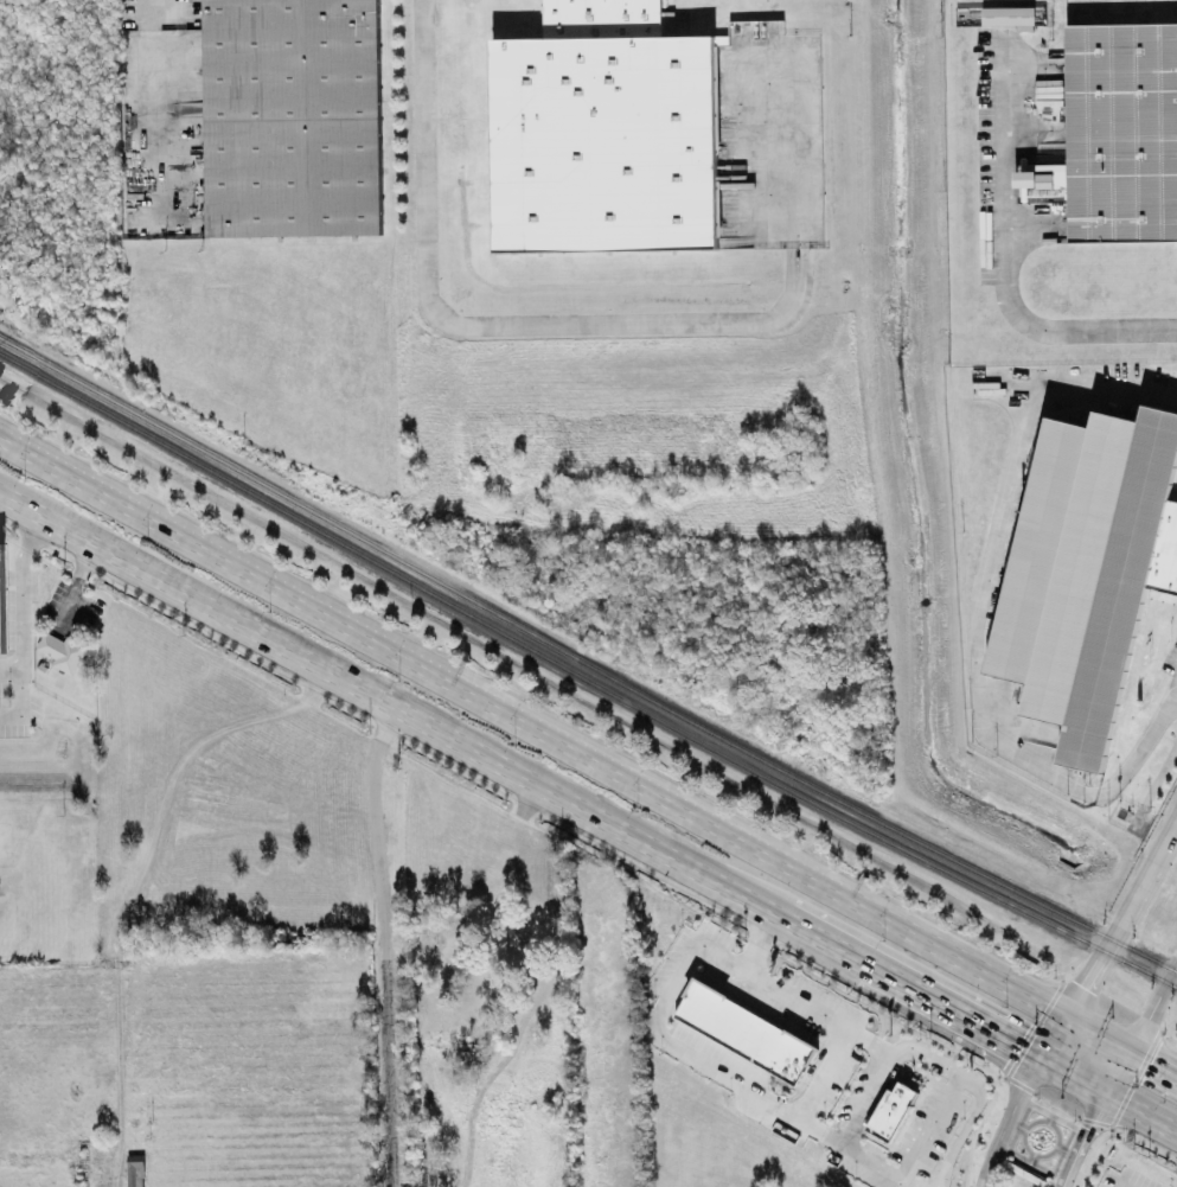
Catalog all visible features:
road: (1032, 59)
road: (146, 103)
building: (293, 117)
building: (605, 132)
building: (1117, 133)
road: (1035, 219)
road: (1004, 243)
road: (587, 324)
building: (1088, 569)
road: (20, 586)
building: (1, 600)
road: (981, 613)
building: (62, 650)
railway: (584, 662)
road: (9, 669)
railway: (584, 678)
road: (388, 697)
road: (20, 701)
road: (565, 744)
road: (1156, 771)
road: (1170, 830)
road: (143, 880)
road: (821, 938)
road: (383, 942)
road: (760, 945)
road: (1101, 952)
traffic signals: (1081, 983)
road: (794, 1002)
road: (1153, 1002)
road: (951, 1010)
building: (746, 1030)
traffic signals: (1012, 1045)
traffic signals: (1149, 1059)
road: (1154, 1061)
road: (940, 1067)
road: (1118, 1074)
road: (820, 1077)
road: (1069, 1078)
road: (738, 1086)
road: (862, 1103)
building: (891, 1109)
road: (1140, 1117)
road: (1003, 1121)
road: (926, 1129)
traffic signals: (1086, 1129)
road: (1079, 1141)
road: (954, 1143)

